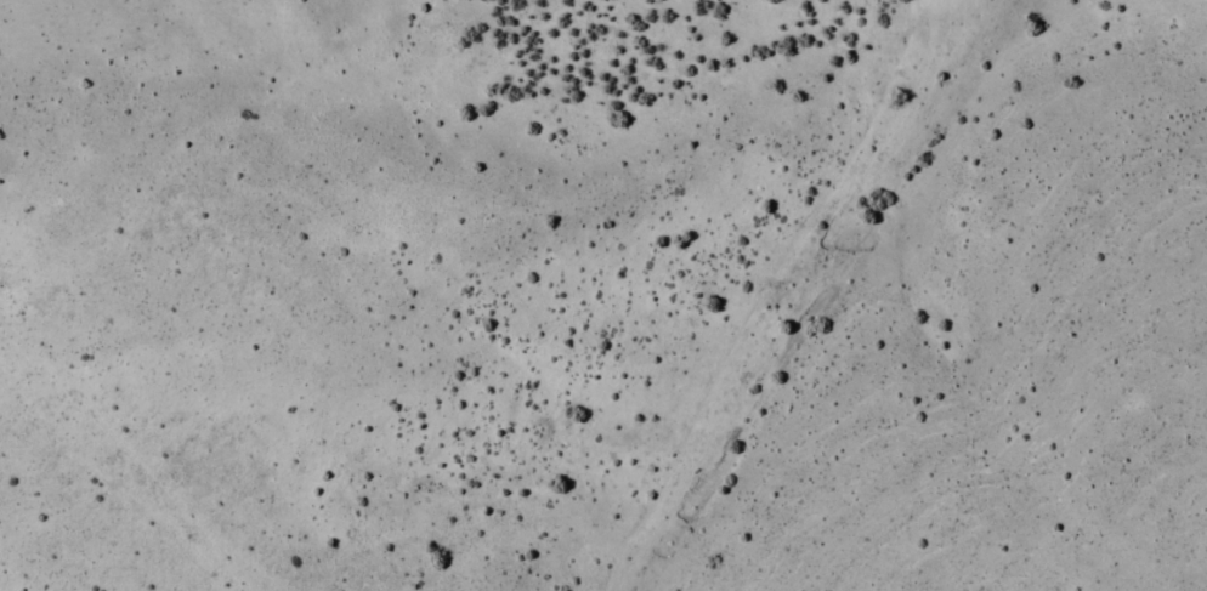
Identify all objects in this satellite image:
road: (795, 280)

